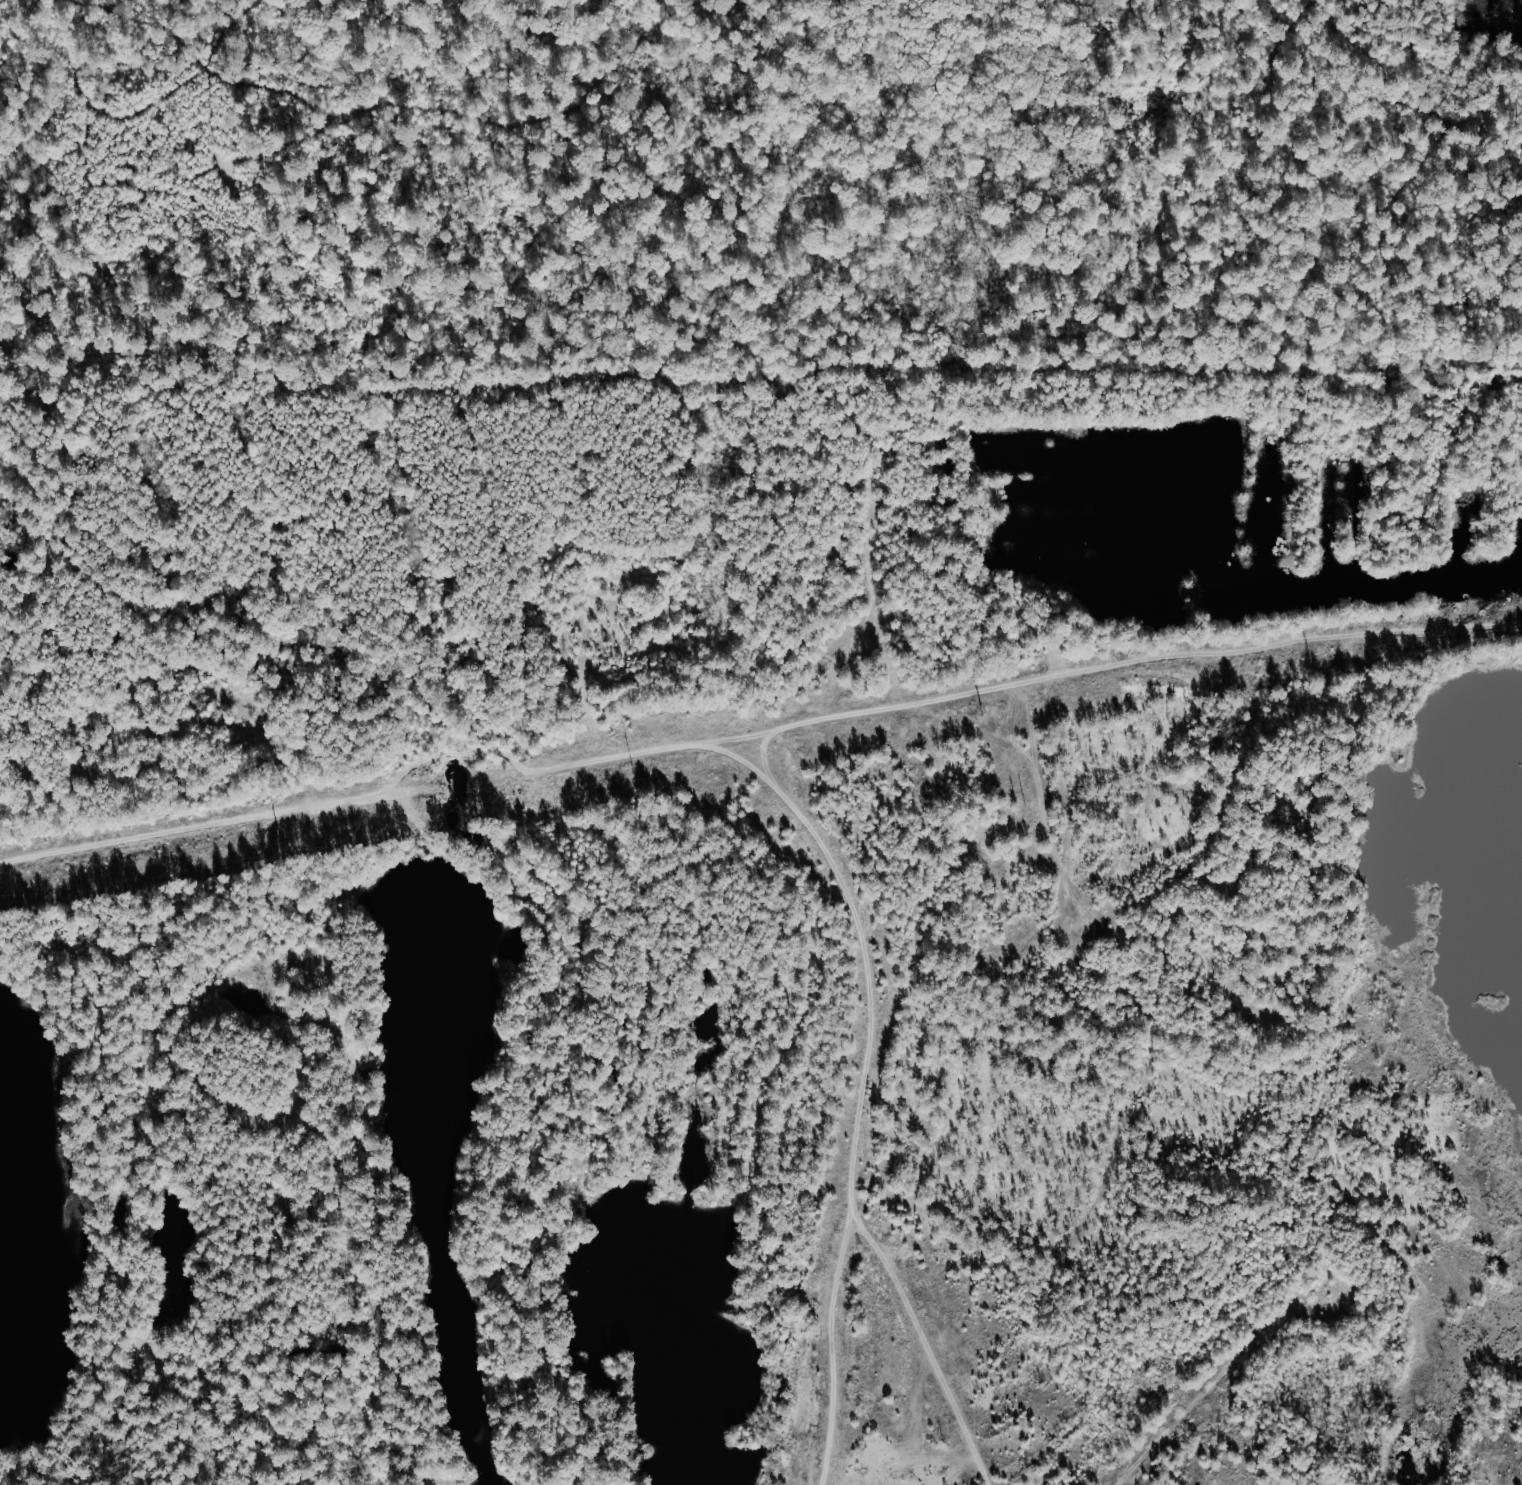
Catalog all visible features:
power tower: (1311, 654)
power tower: (983, 712)
power tower: (637, 772)
power tower: (280, 835)

